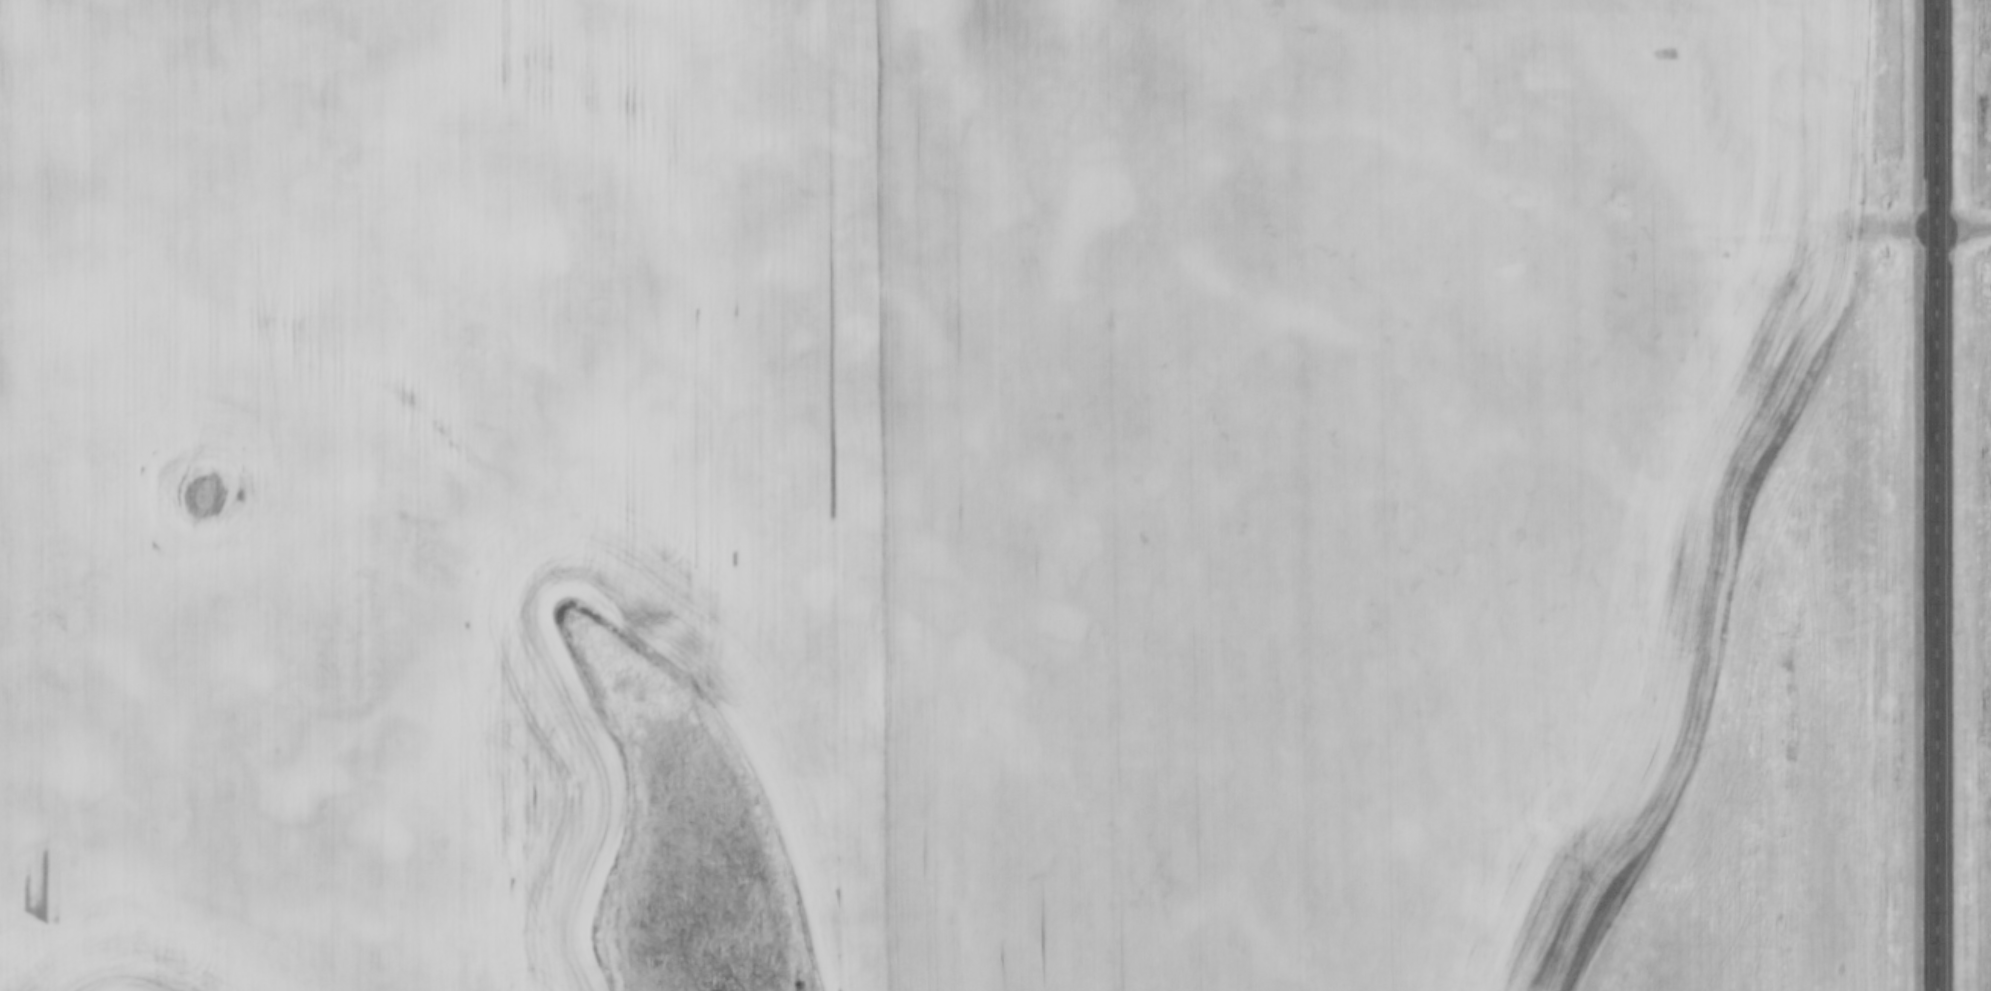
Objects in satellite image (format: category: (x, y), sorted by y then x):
road: (1935, 495)

